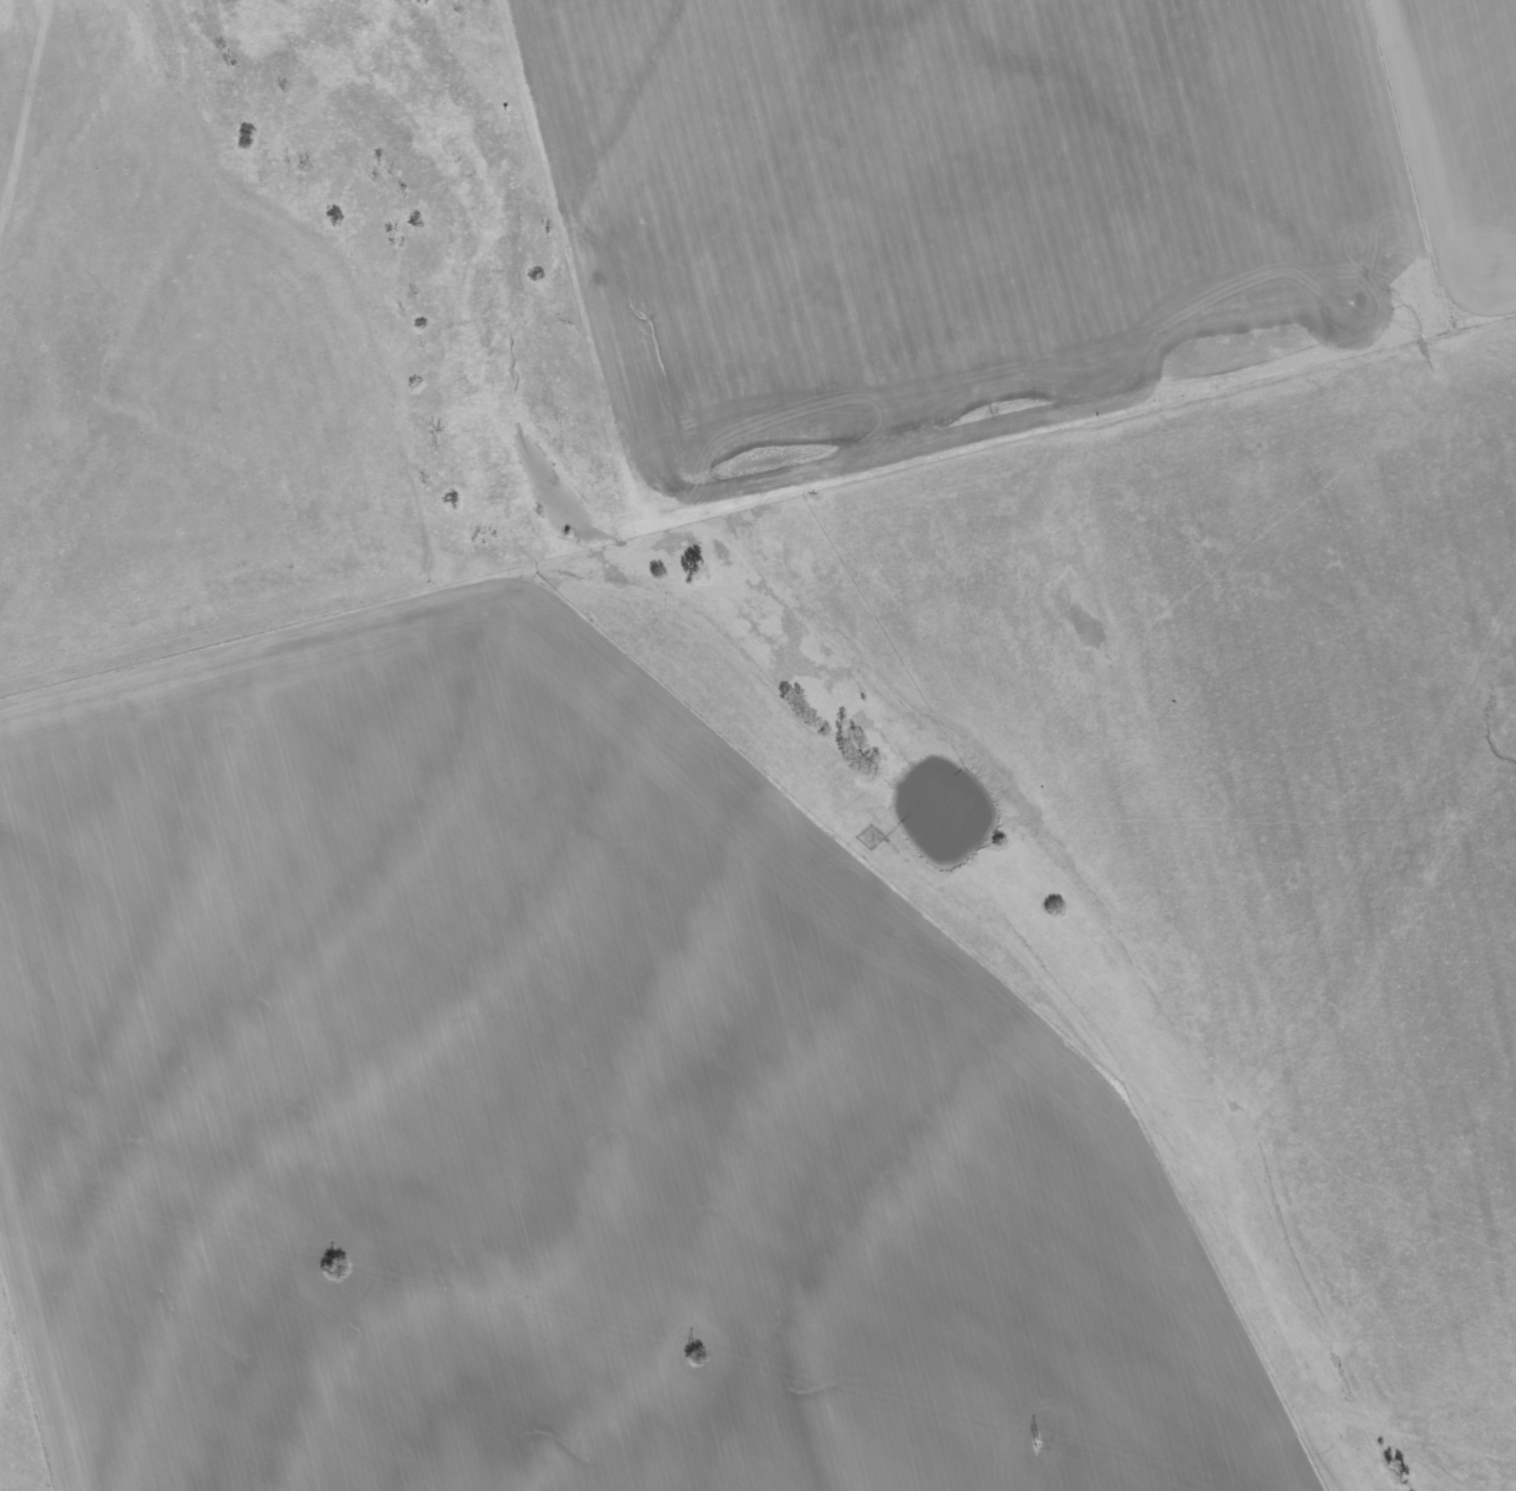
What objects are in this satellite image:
power tower: (332, 1268)
power tower: (695, 1356)
power tower: (1036, 1444)

